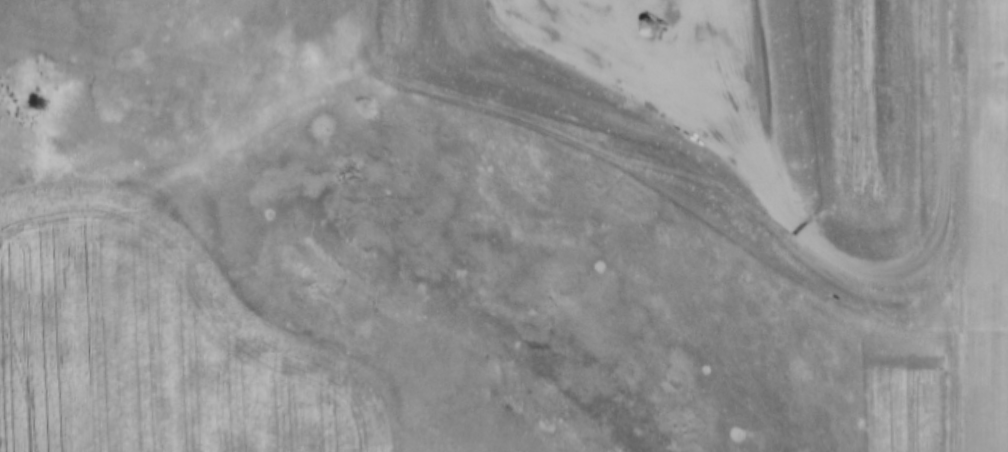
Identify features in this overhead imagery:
petroleum well: (647, 29)
road: (728, 70)
road: (639, 73)
road: (934, 257)
road: (952, 340)

